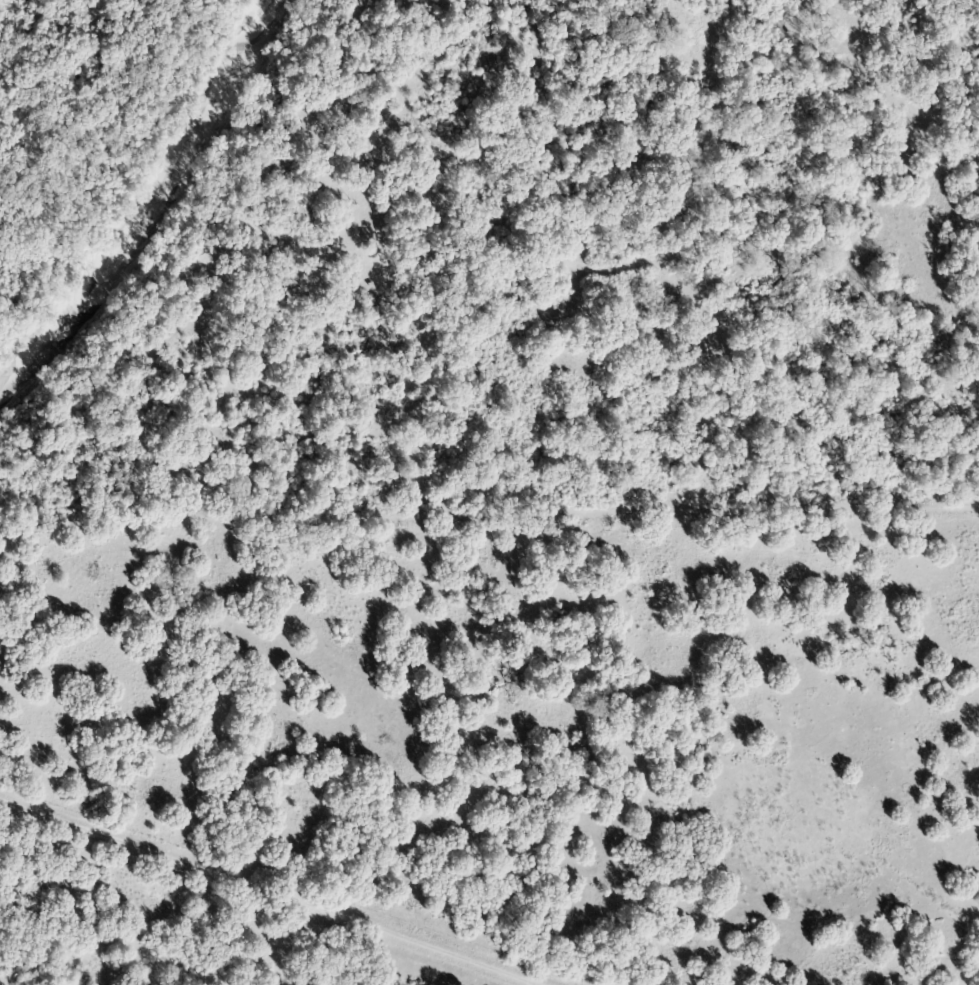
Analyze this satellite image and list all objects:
road: (274, 893)

